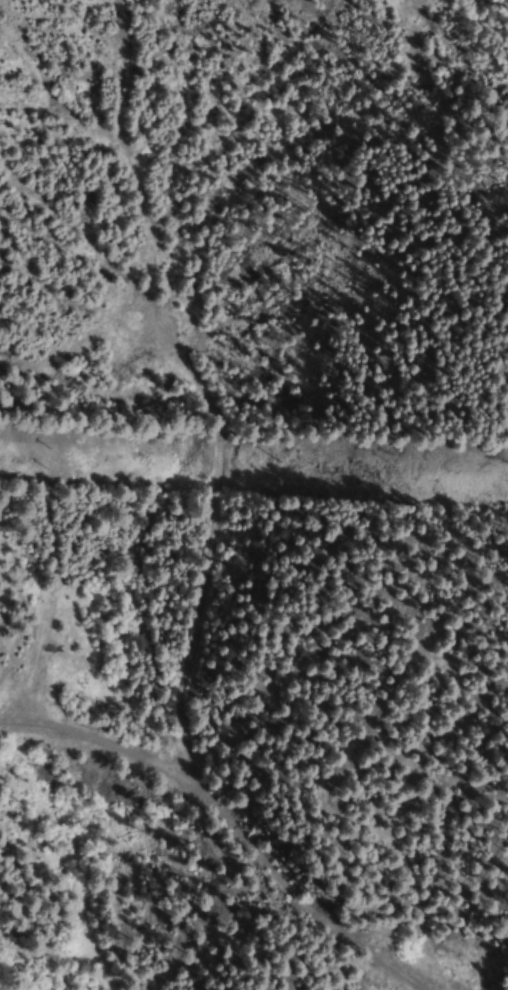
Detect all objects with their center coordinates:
road: (222, 836)

